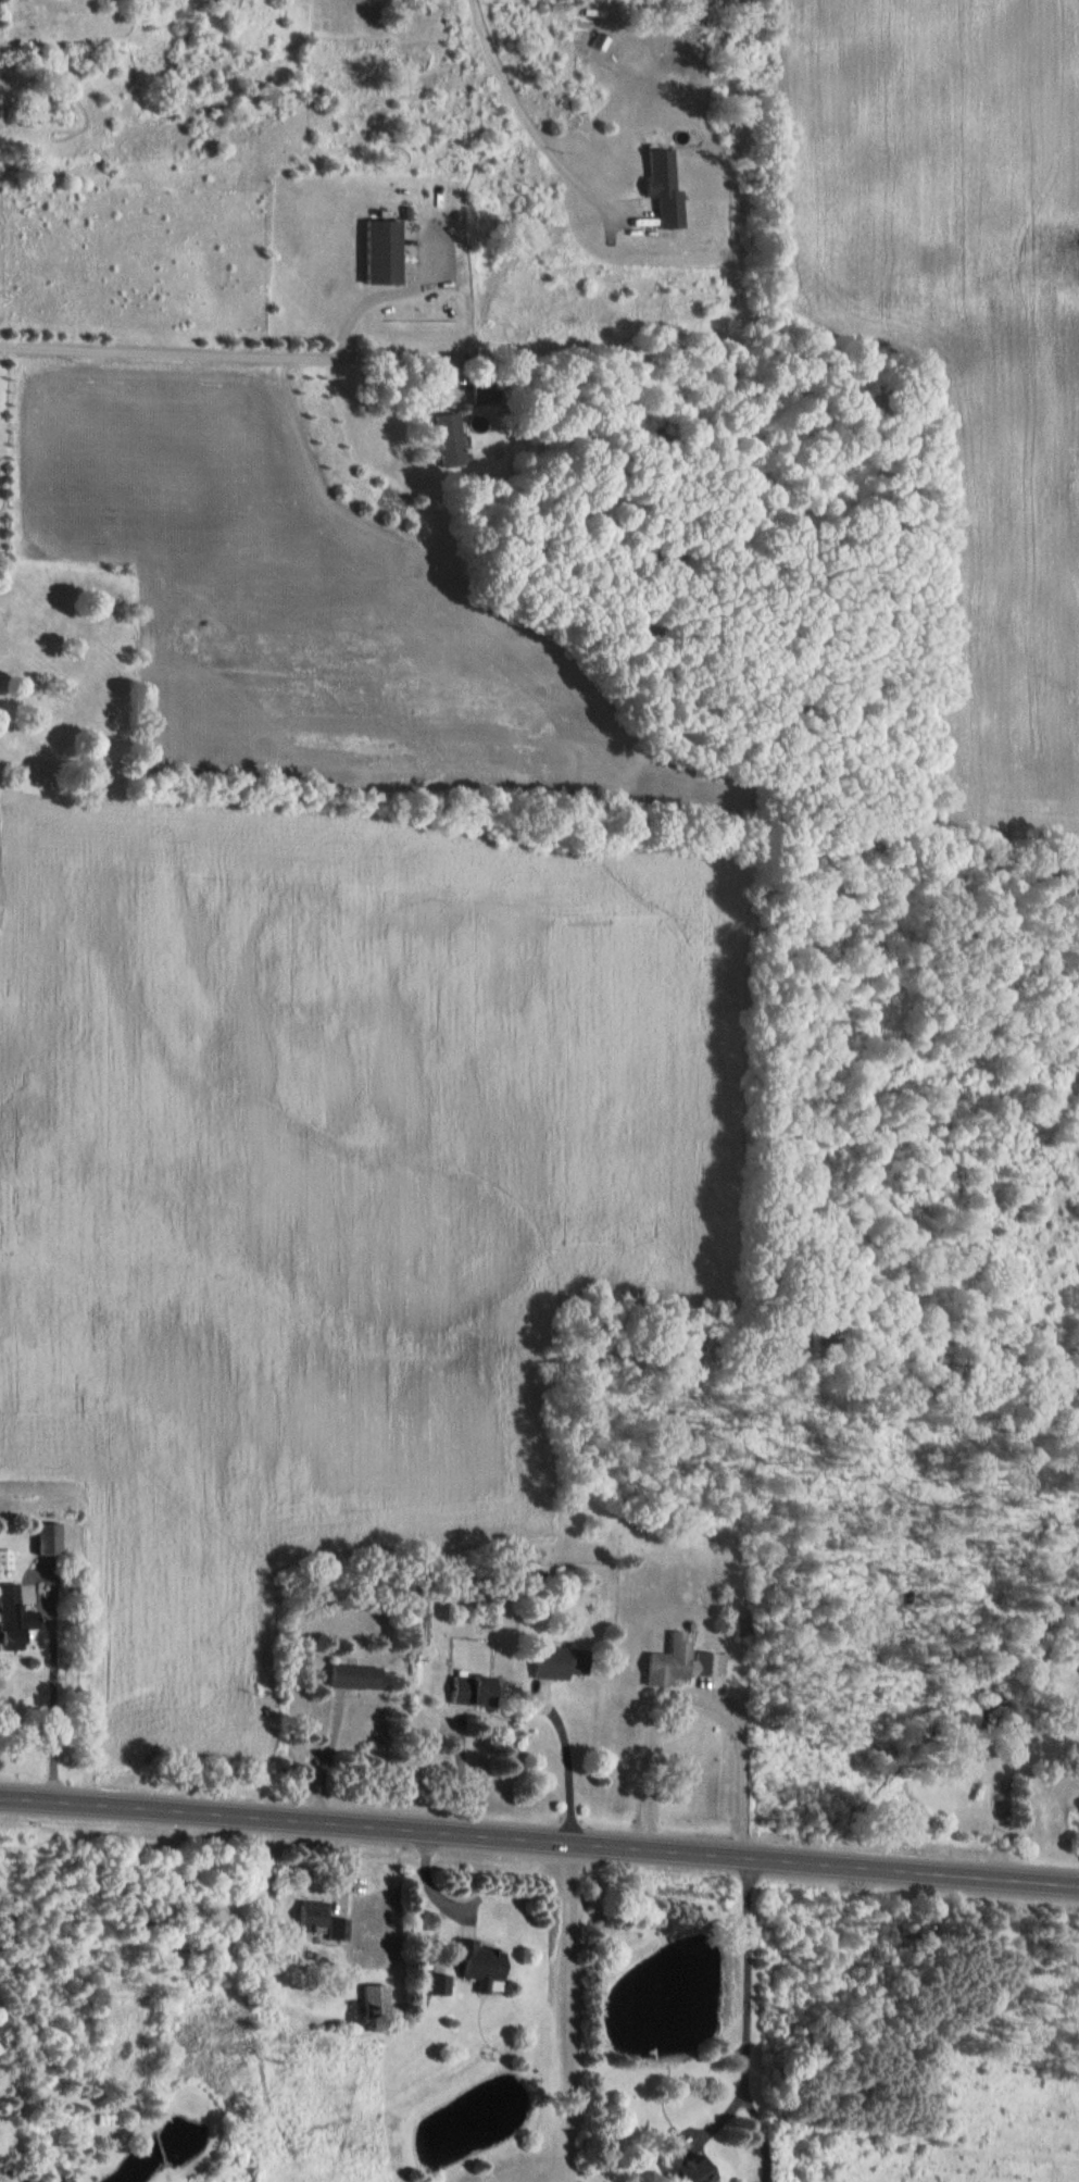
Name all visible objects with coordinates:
building: (605, 42)
road: (529, 93)
building: (376, 251)
road: (217, 345)
building: (442, 440)
building: (39, 1537)
building: (2, 1558)
building: (534, 1570)
building: (9, 1620)
building: (551, 1661)
building: (699, 1663)
building: (661, 1668)
building: (346, 1676)
building: (462, 1688)
road: (539, 1842)
building: (308, 1913)
building: (336, 1930)
building: (475, 1962)
building: (374, 2000)
building: (678, 2169)

